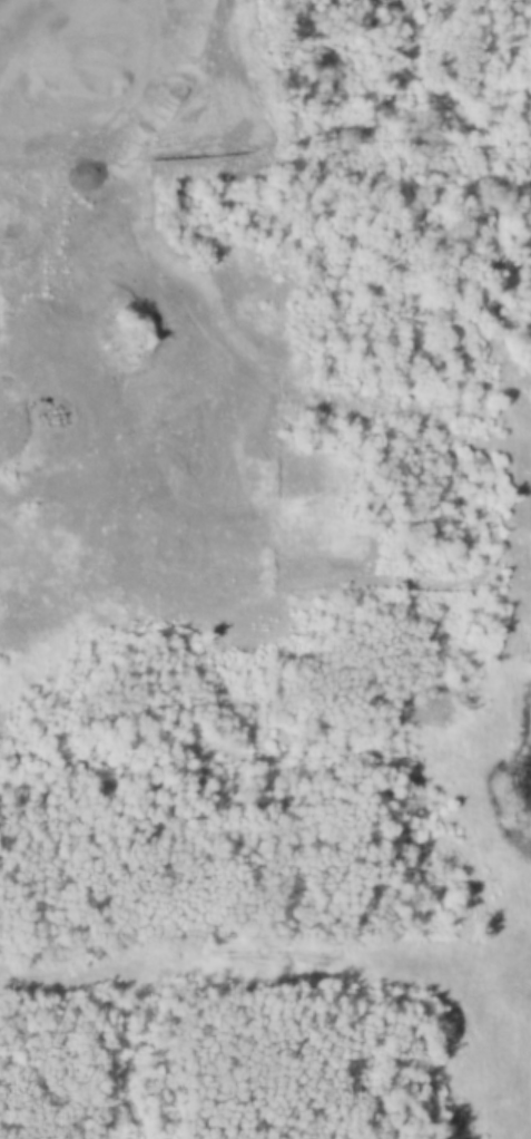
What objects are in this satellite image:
quarry: (106, 317)

